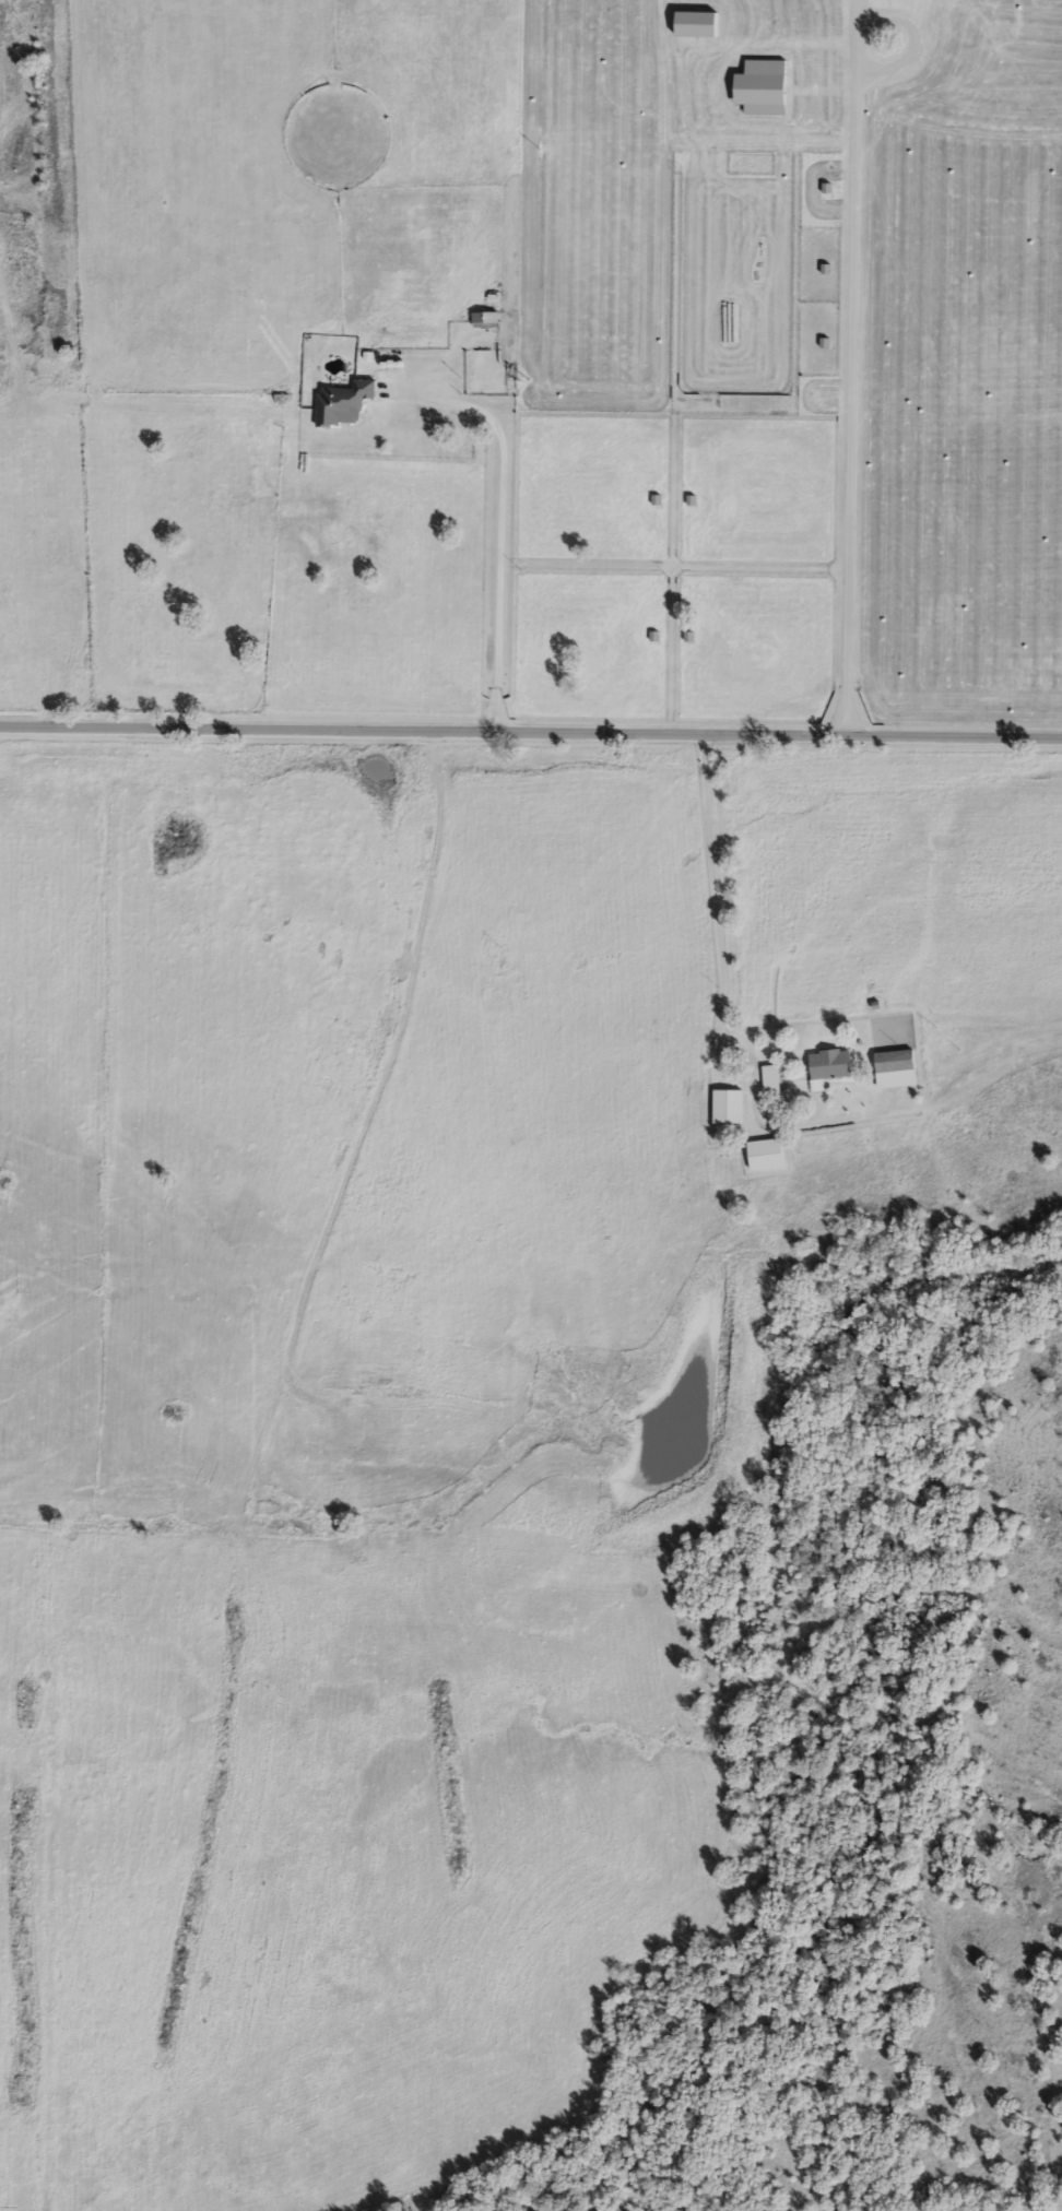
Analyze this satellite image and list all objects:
road: (854, 303)
building: (485, 319)
building: (342, 403)
road: (503, 527)
road: (530, 729)
road: (725, 969)
building: (829, 1064)
building: (894, 1068)
building: (770, 1078)
building: (728, 1105)
building: (764, 1154)

